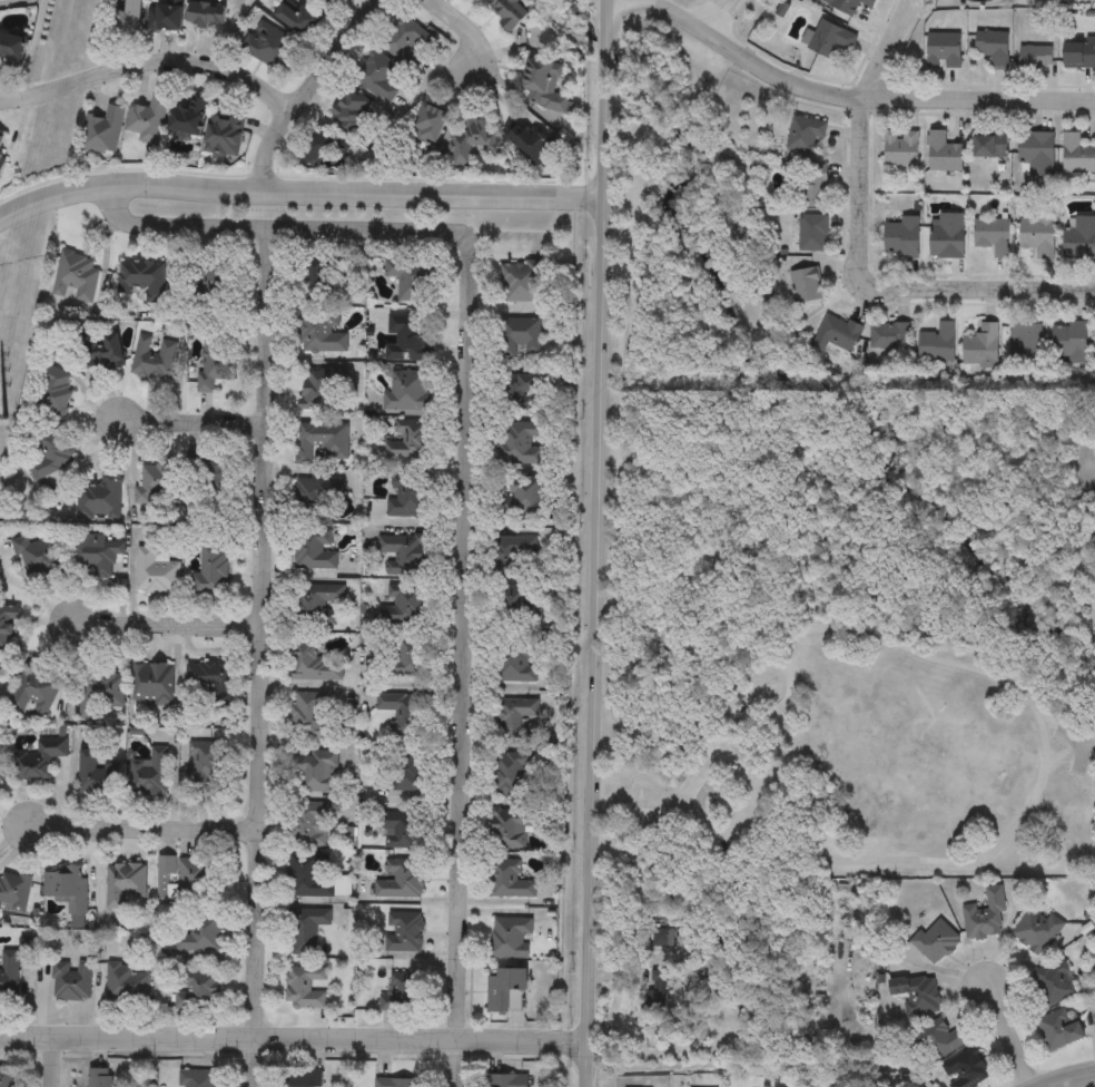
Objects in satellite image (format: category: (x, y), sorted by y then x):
building: (474, 0)
building: (847, 4)
building: (205, 12)
building: (510, 12)
building: (165, 16)
road: (721, 16)
building: (129, 17)
building: (298, 20)
road: (461, 21)
road: (230, 36)
building: (827, 39)
building: (403, 43)
road: (34, 46)
building: (12, 48)
building: (993, 48)
building: (944, 50)
building: (1079, 55)
building: (1035, 58)
road: (159, 63)
building: (374, 74)
road: (305, 87)
building: (544, 87)
road: (11, 92)
road: (856, 95)
building: (347, 111)
building: (189, 117)
building: (149, 120)
building: (428, 125)
building: (103, 129)
building: (805, 134)
building: (473, 140)
building: (529, 143)
road: (864, 144)
building: (989, 147)
building: (315, 148)
building: (900, 148)
building: (943, 153)
building: (1036, 154)
building: (1077, 154)
road: (302, 184)
building: (813, 185)
road: (302, 228)
building: (812, 232)
building: (1036, 234)
building: (947, 235)
building: (993, 235)
building: (900, 236)
building: (1081, 237)
road: (535, 238)
building: (410, 284)
building: (521, 284)
building: (318, 285)
building: (806, 285)
road: (986, 288)
building: (838, 332)
building: (322, 334)
building: (889, 335)
building: (408, 339)
building: (519, 339)
building: (1024, 342)
building: (937, 343)
building: (1069, 343)
building: (980, 346)
building: (323, 391)
building: (407, 392)
power tower: (4, 421)
road: (190, 421)
road: (623, 425)
building: (323, 443)
building: (411, 444)
building: (520, 448)
building: (317, 494)
building: (407, 499)
building: (522, 500)
road: (601, 543)
building: (315, 550)
building: (403, 555)
building: (512, 556)
park: (829, 579)
building: (512, 604)
building: (316, 605)
building: (406, 606)
road: (572, 617)
road: (169, 624)
road: (260, 657)
building: (405, 658)
road: (768, 658)
road: (733, 659)
road: (463, 662)
building: (312, 664)
building: (514, 666)
road: (738, 675)
road: (1027, 678)
road: (731, 709)
building: (309, 713)
building: (403, 713)
building: (514, 718)
park: (975, 731)
parking lot: (1077, 734)
road: (746, 741)
road: (1064, 745)
building: (207, 771)
building: (315, 773)
building: (408, 773)
building: (150, 774)
building: (506, 775)
parking lot: (760, 787)
park: (901, 793)
road: (654, 796)
building: (308, 828)
building: (512, 828)
road: (146, 831)
building: (402, 831)
building: (307, 879)
building: (399, 879)
building: (181, 880)
building: (509, 880)
building: (985, 914)
building: (306, 930)
building: (1036, 930)
building: (200, 933)
building: (404, 933)
building: (511, 938)
building: (935, 941)
building: (1054, 981)
building: (304, 987)
building: (503, 988)
building: (196, 991)
building: (402, 992)
building: (916, 993)
building: (1058, 1028)
road: (1008, 1034)
road: (294, 1038)
building: (938, 1039)
road: (55, 1061)
building: (965, 1069)
building: (302, 1078)
road: (1071, 1078)
building: (198, 1079)
building: (505, 1080)
building: (396, 1083)

